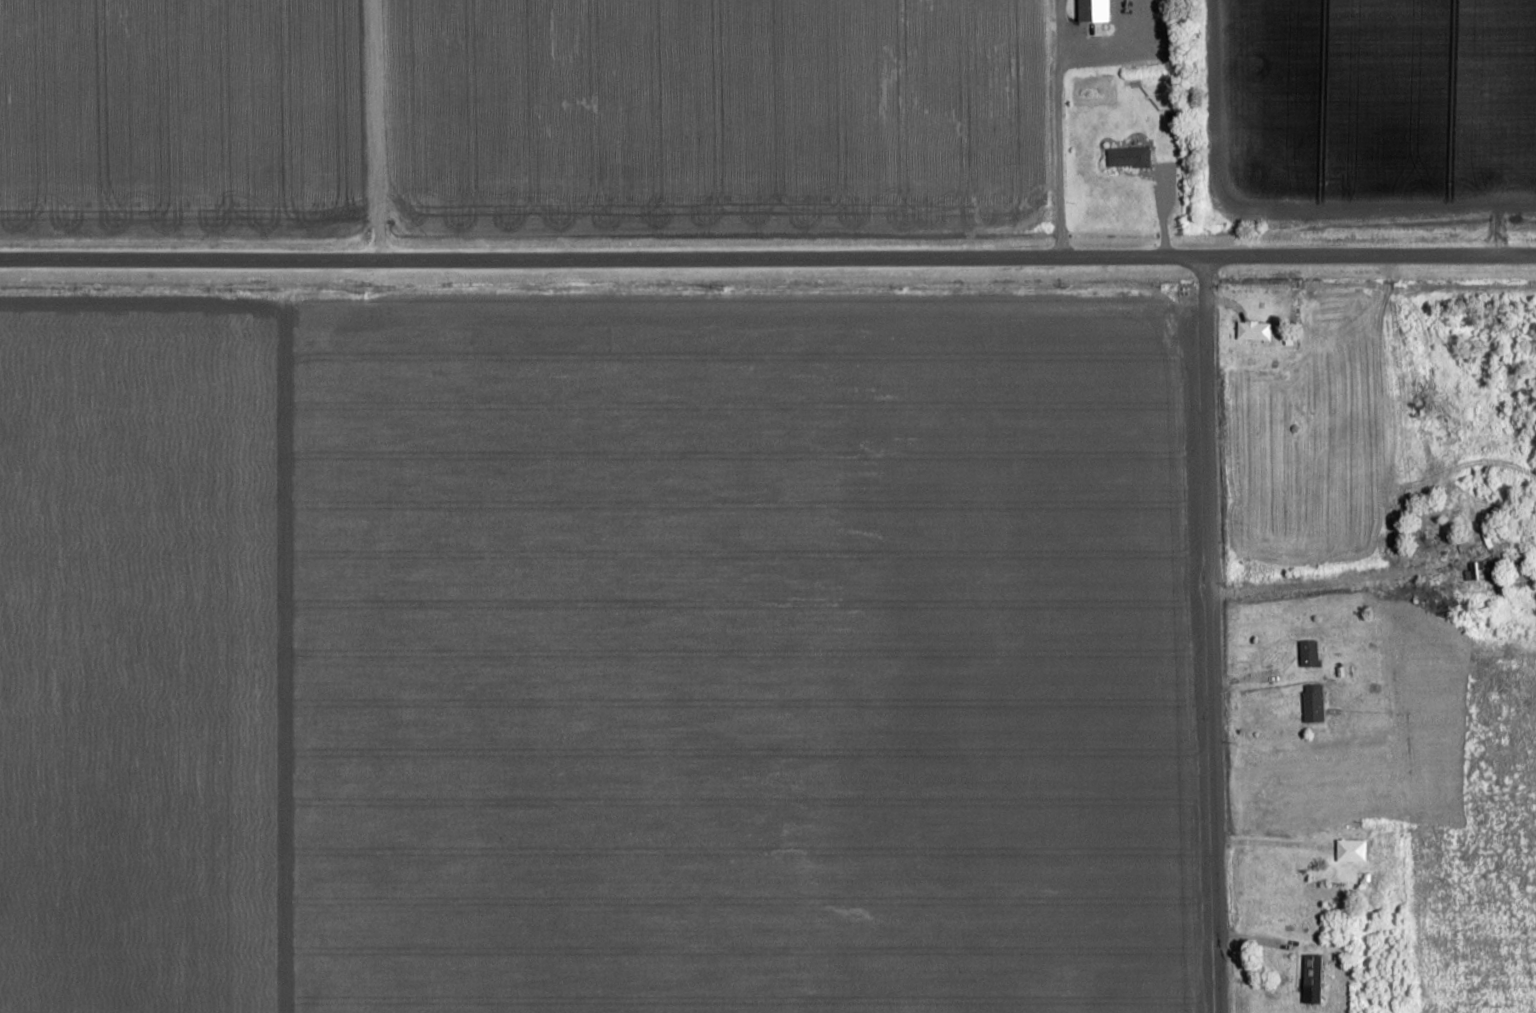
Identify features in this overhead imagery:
building: (1093, 11)
road: (375, 128)
building: (1128, 158)
road: (768, 257)
building: (1254, 331)
road: (1375, 570)
building: (1471, 575)
road: (1214, 634)
building: (1310, 654)
building: (1313, 703)
road: (1280, 845)
building: (1351, 851)
building: (1313, 980)

